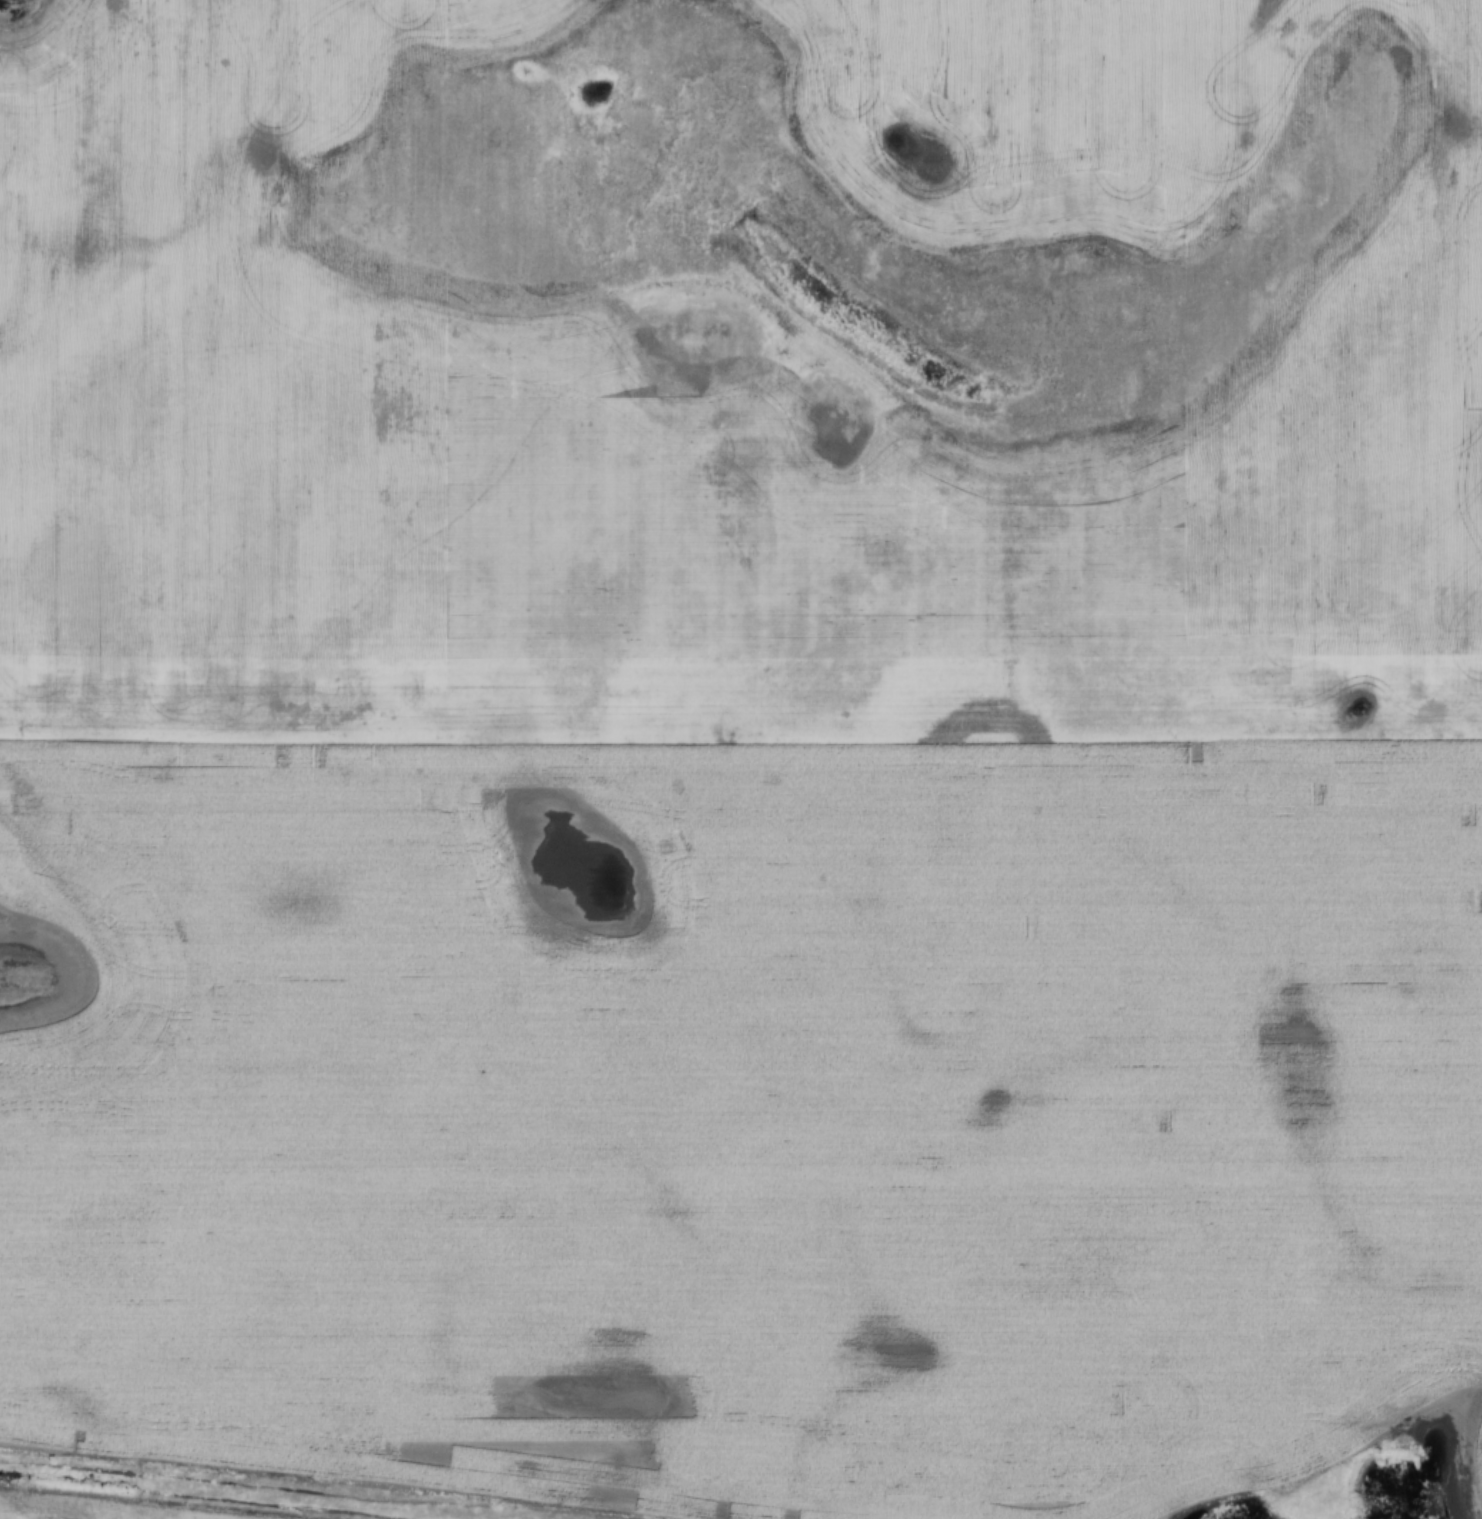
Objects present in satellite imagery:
railway: (250, 1492)

